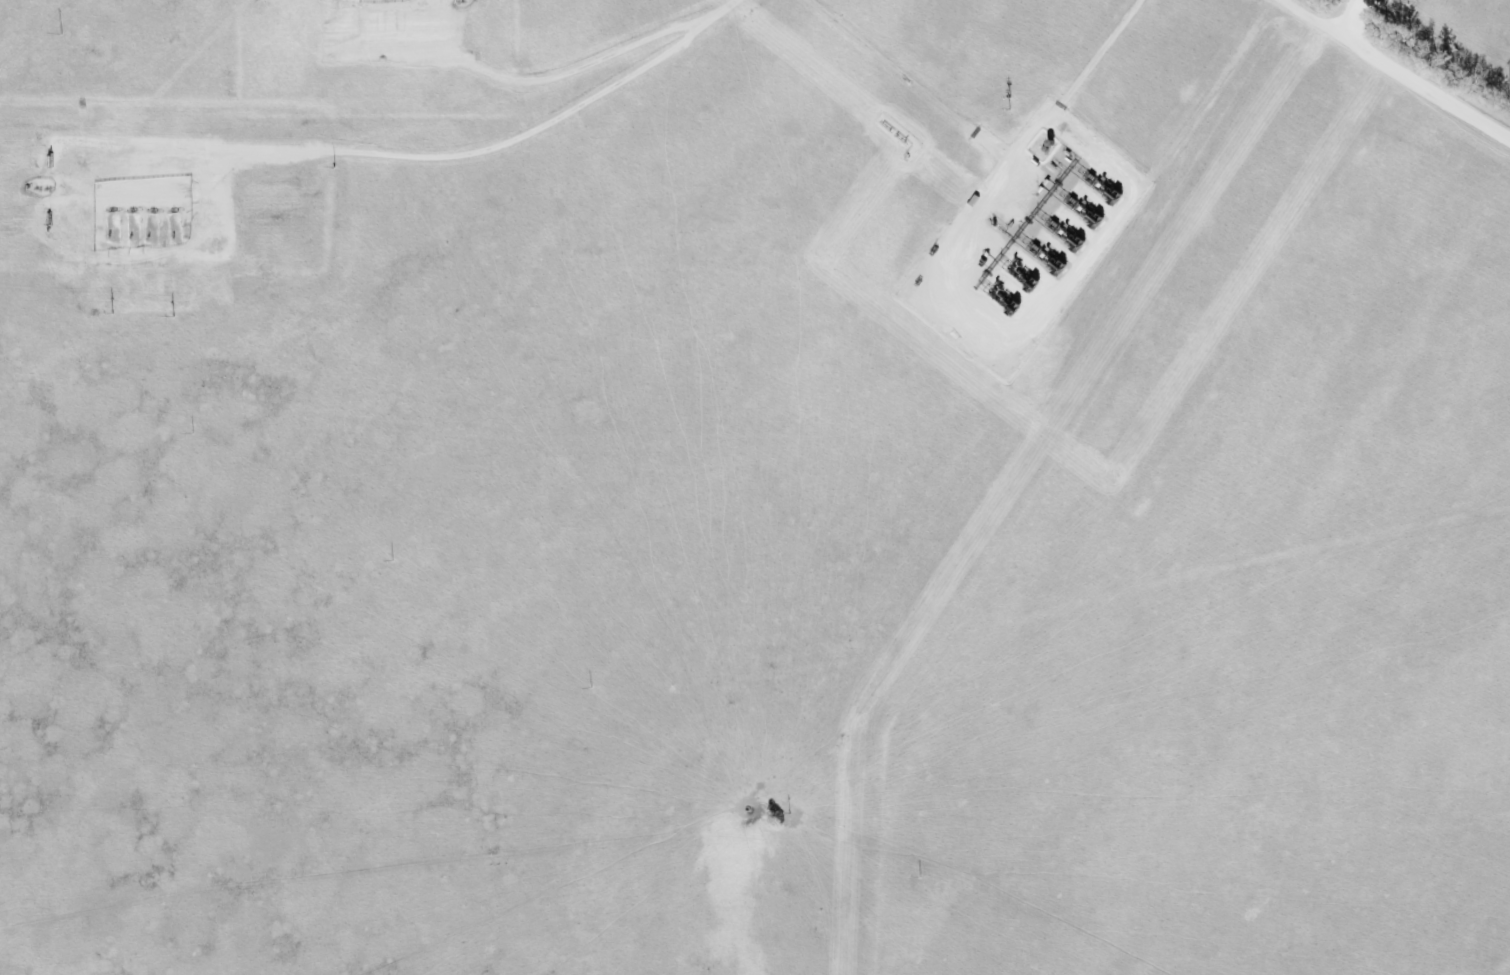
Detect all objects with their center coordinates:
road: (1346, 19)
road: (565, 72)
road: (1390, 74)
road: (903, 81)
road: (432, 157)
petroleum well: (112, 208)
road: (997, 363)

